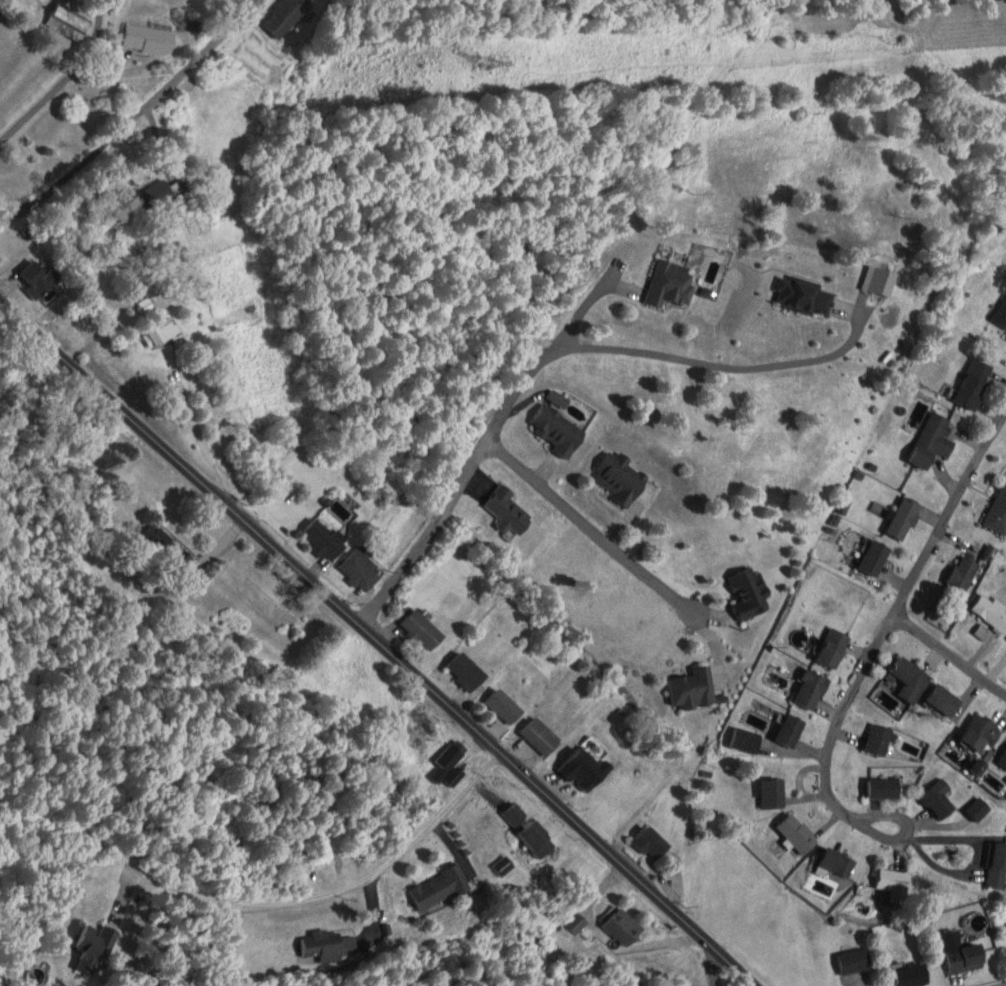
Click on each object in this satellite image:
building: (285, 15)
building: (68, 22)
building: (148, 38)
power tower: (488, 62)
road: (66, 79)
road: (135, 117)
building: (163, 195)
building: (40, 278)
building: (880, 280)
building: (671, 284)
building: (805, 297)
building: (1001, 314)
building: (162, 332)
road: (114, 346)
building: (974, 384)
building: (559, 398)
building: (557, 429)
road: (485, 438)
building: (933, 440)
building: (620, 478)
building: (508, 511)
building: (998, 512)
building: (903, 518)
road: (589, 528)
building: (874, 558)
building: (361, 569)
building: (963, 574)
building: (749, 594)
road: (891, 610)
building: (991, 613)
building: (422, 630)
road: (378, 641)
building: (832, 649)
road: (947, 655)
building: (466, 671)
building: (910, 680)
building: (693, 689)
building: (810, 690)
building: (943, 700)
building: (504, 706)
building: (790, 731)
building: (980, 735)
building: (540, 737)
building: (744, 741)
building: (879, 741)
building: (452, 756)
building: (1002, 760)
building: (883, 788)
building: (772, 790)
building: (938, 800)
building: (976, 809)
building: (515, 814)
road: (905, 830)
building: (797, 833)
building: (538, 840)
building: (652, 842)
building: (837, 863)
building: (997, 863)
building: (504, 866)
building: (888, 879)
road: (353, 883)
building: (440, 889)
building: (577, 923)
building: (621, 929)
building: (328, 946)
building: (92, 948)
building: (961, 954)
building: (854, 962)
road: (713, 965)
building: (910, 976)
road: (1004, 985)

